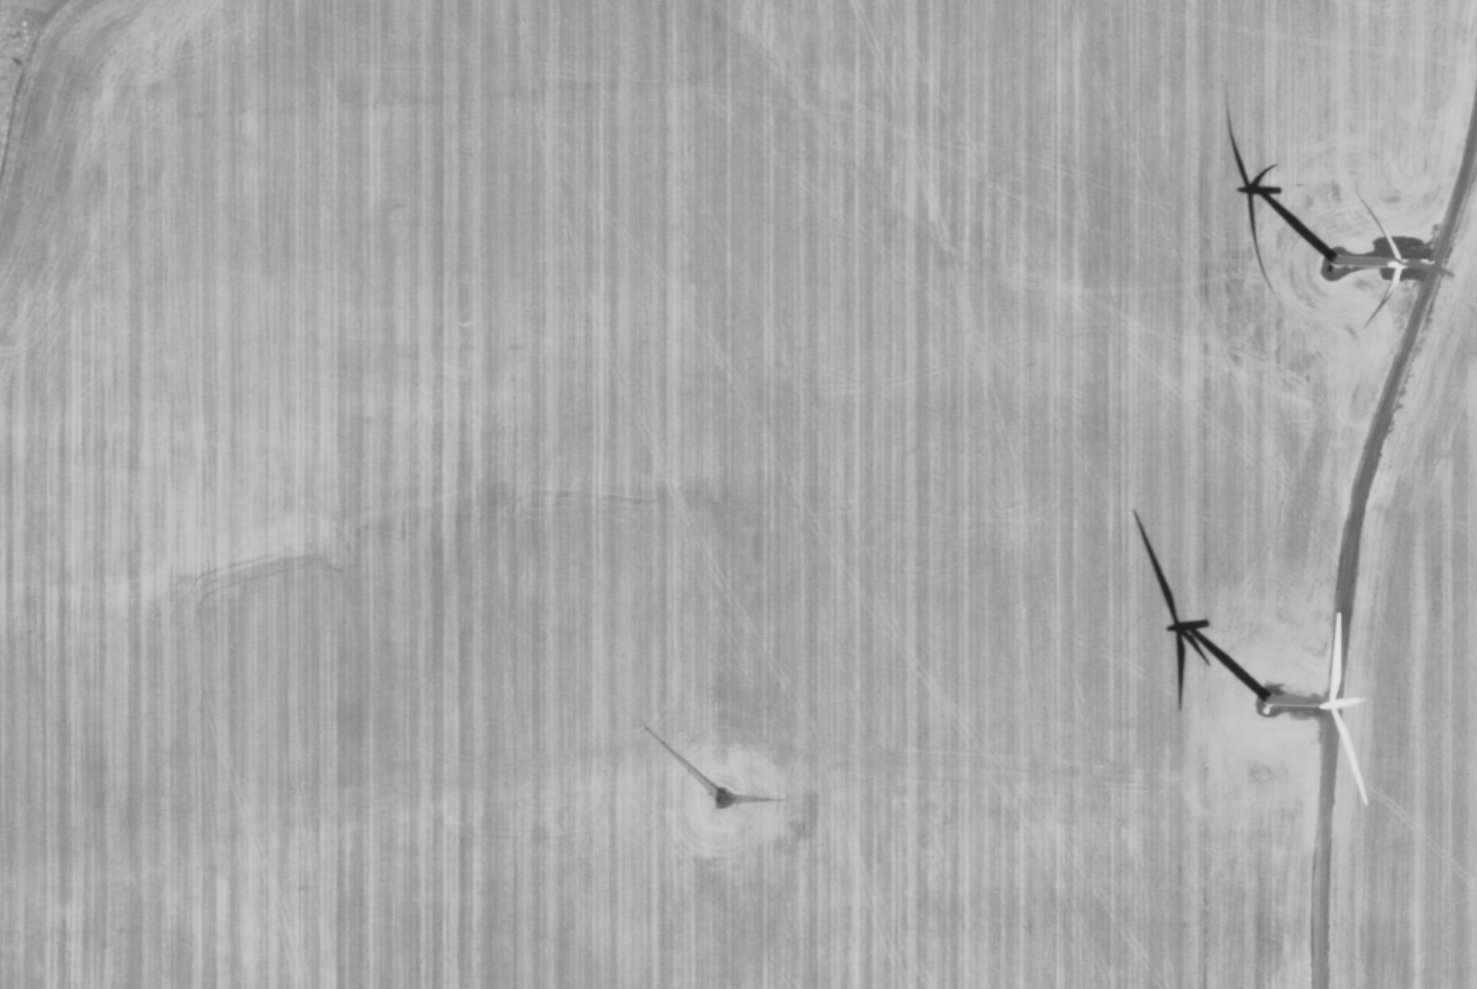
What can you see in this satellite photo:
wind turbine: (1334, 272)
road: (1344, 522)
wind turbine: (1274, 714)

